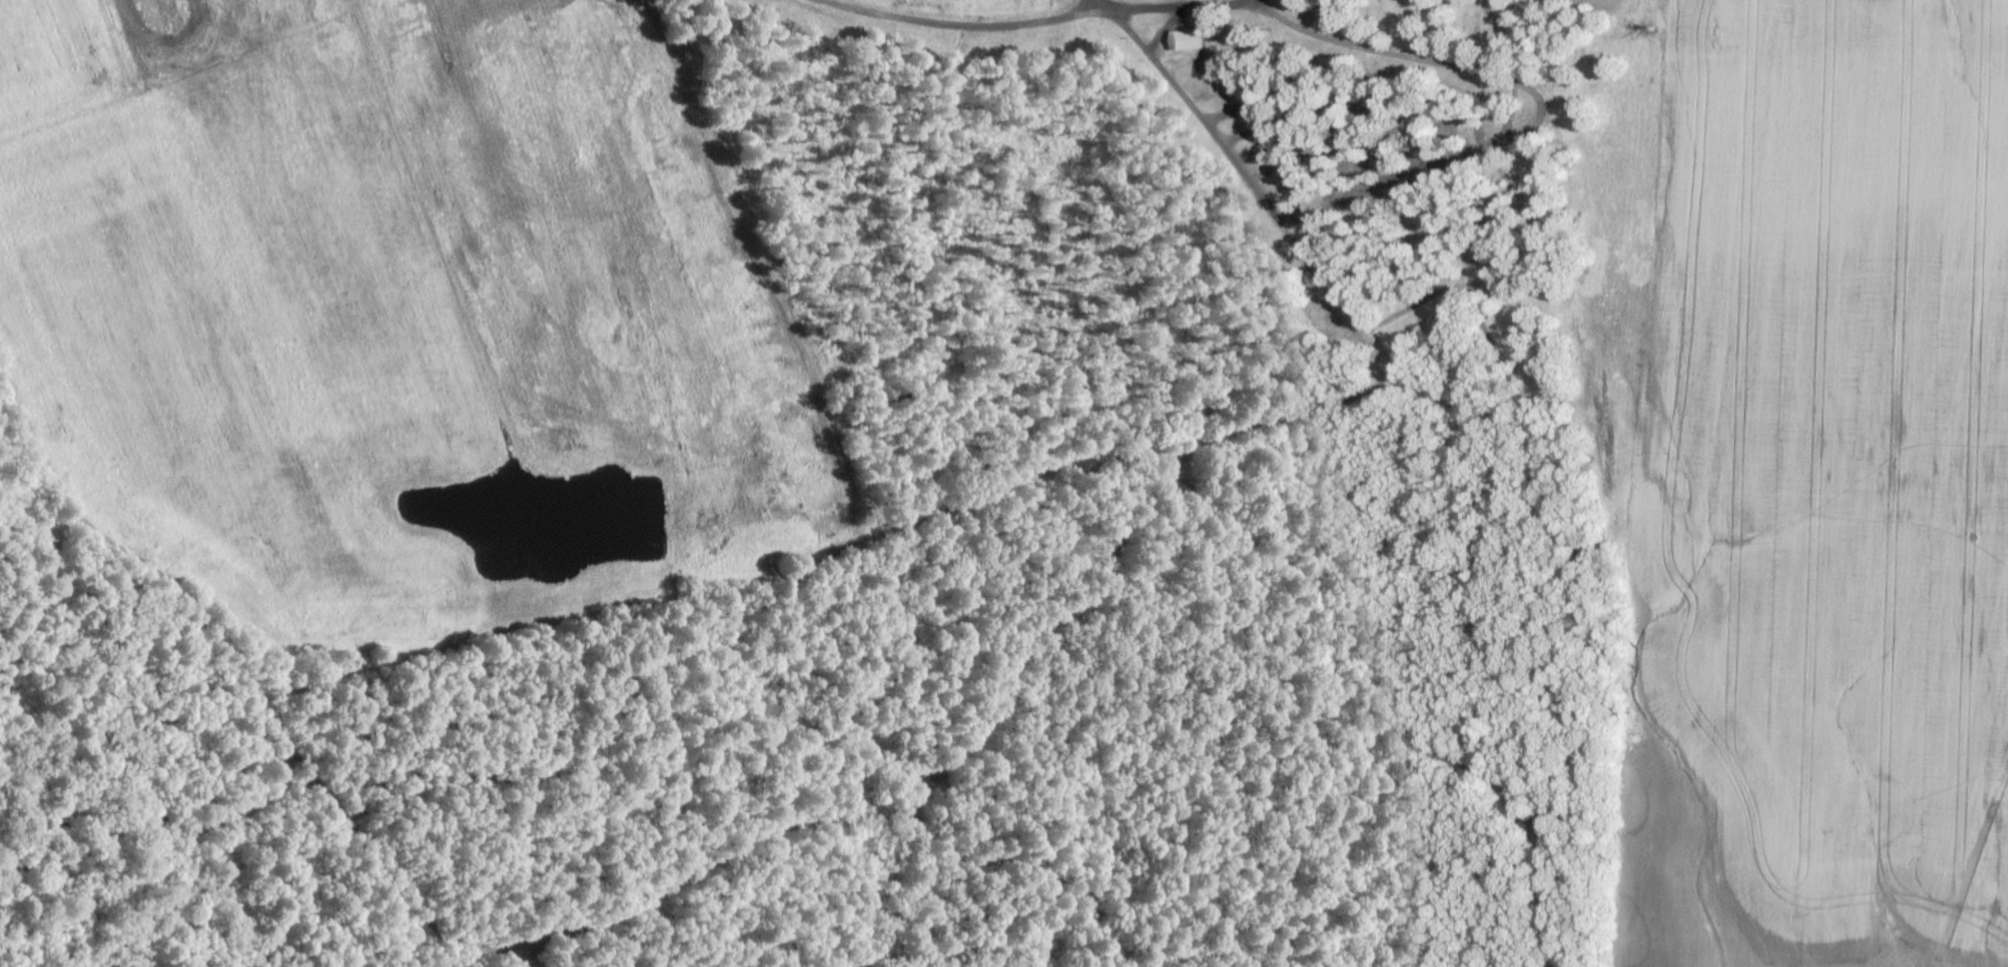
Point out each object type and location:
road: (1174, 6)
road: (963, 20)
building: (1193, 39)

